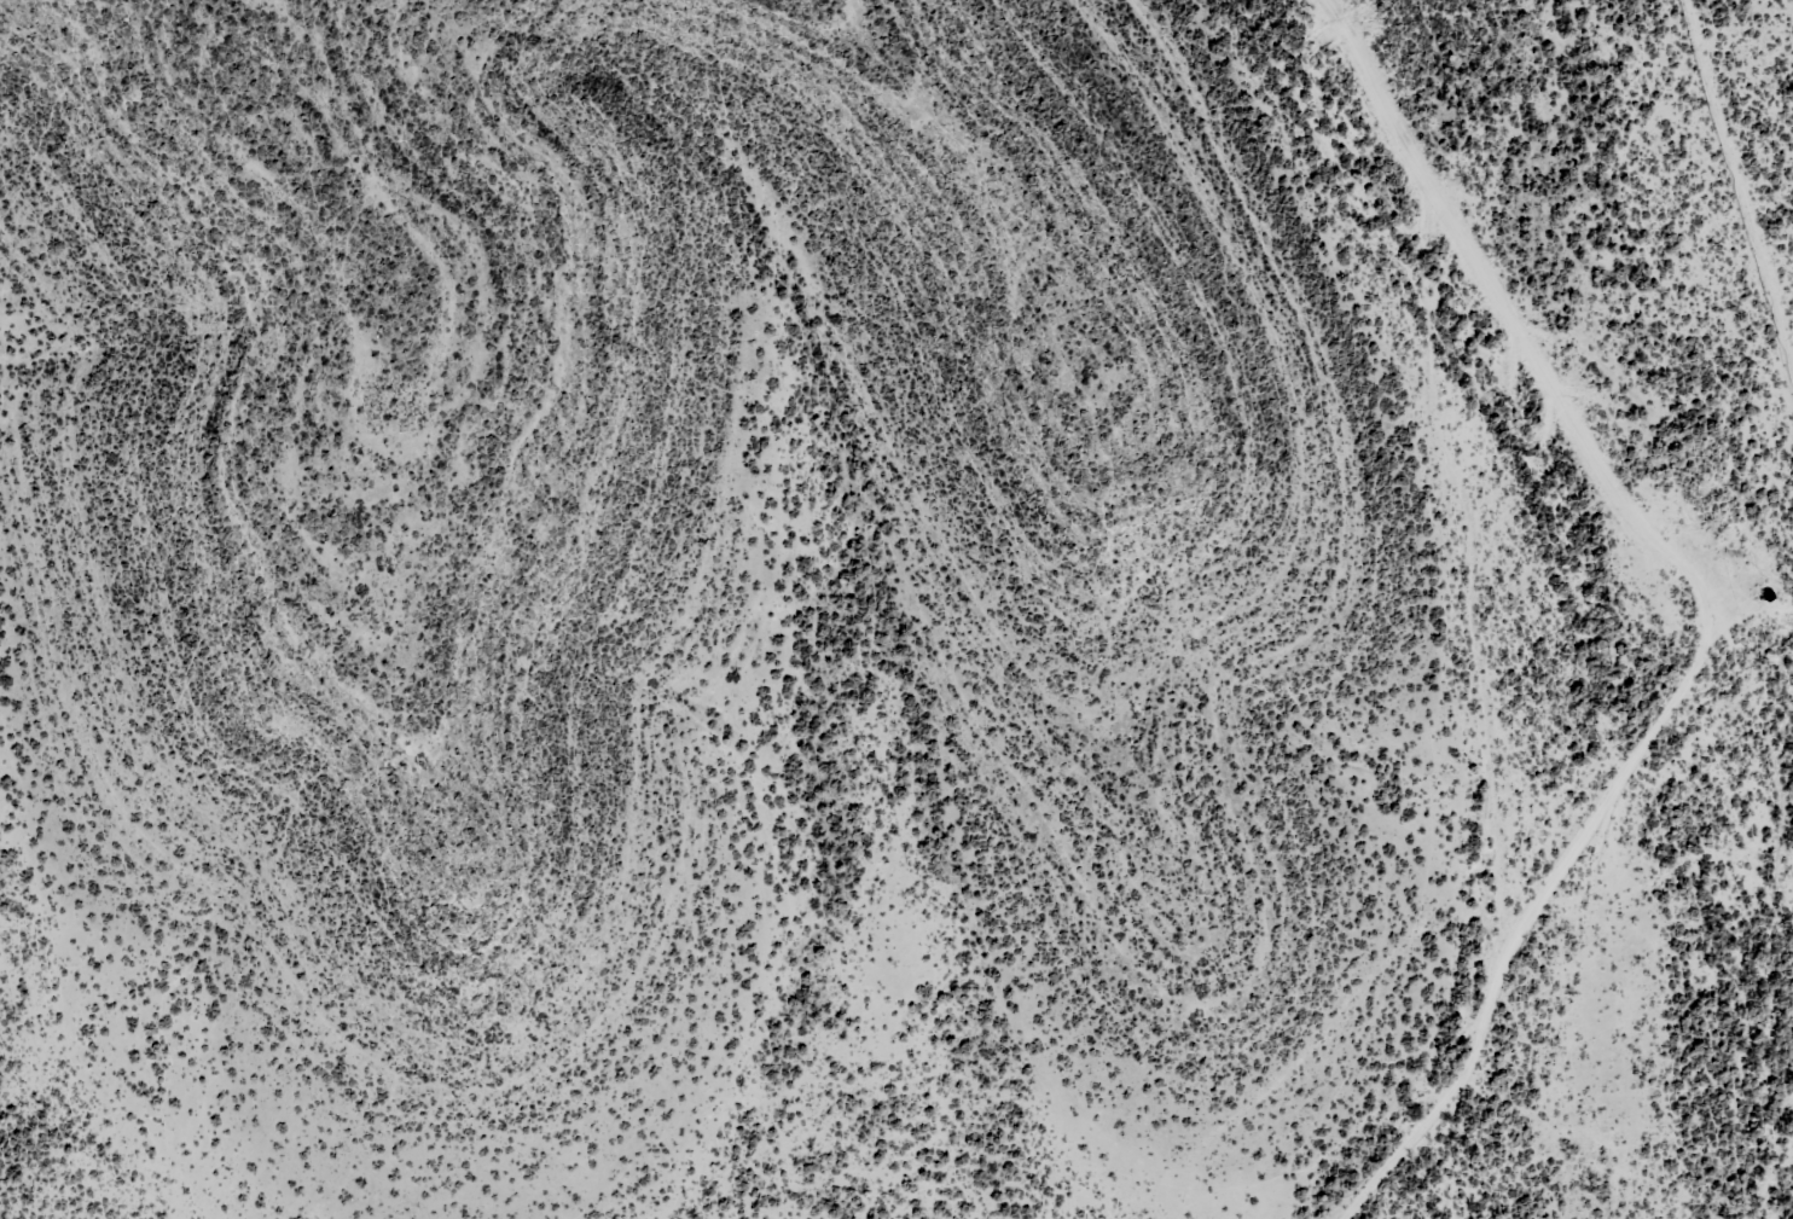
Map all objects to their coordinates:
road: (1676, 608)

